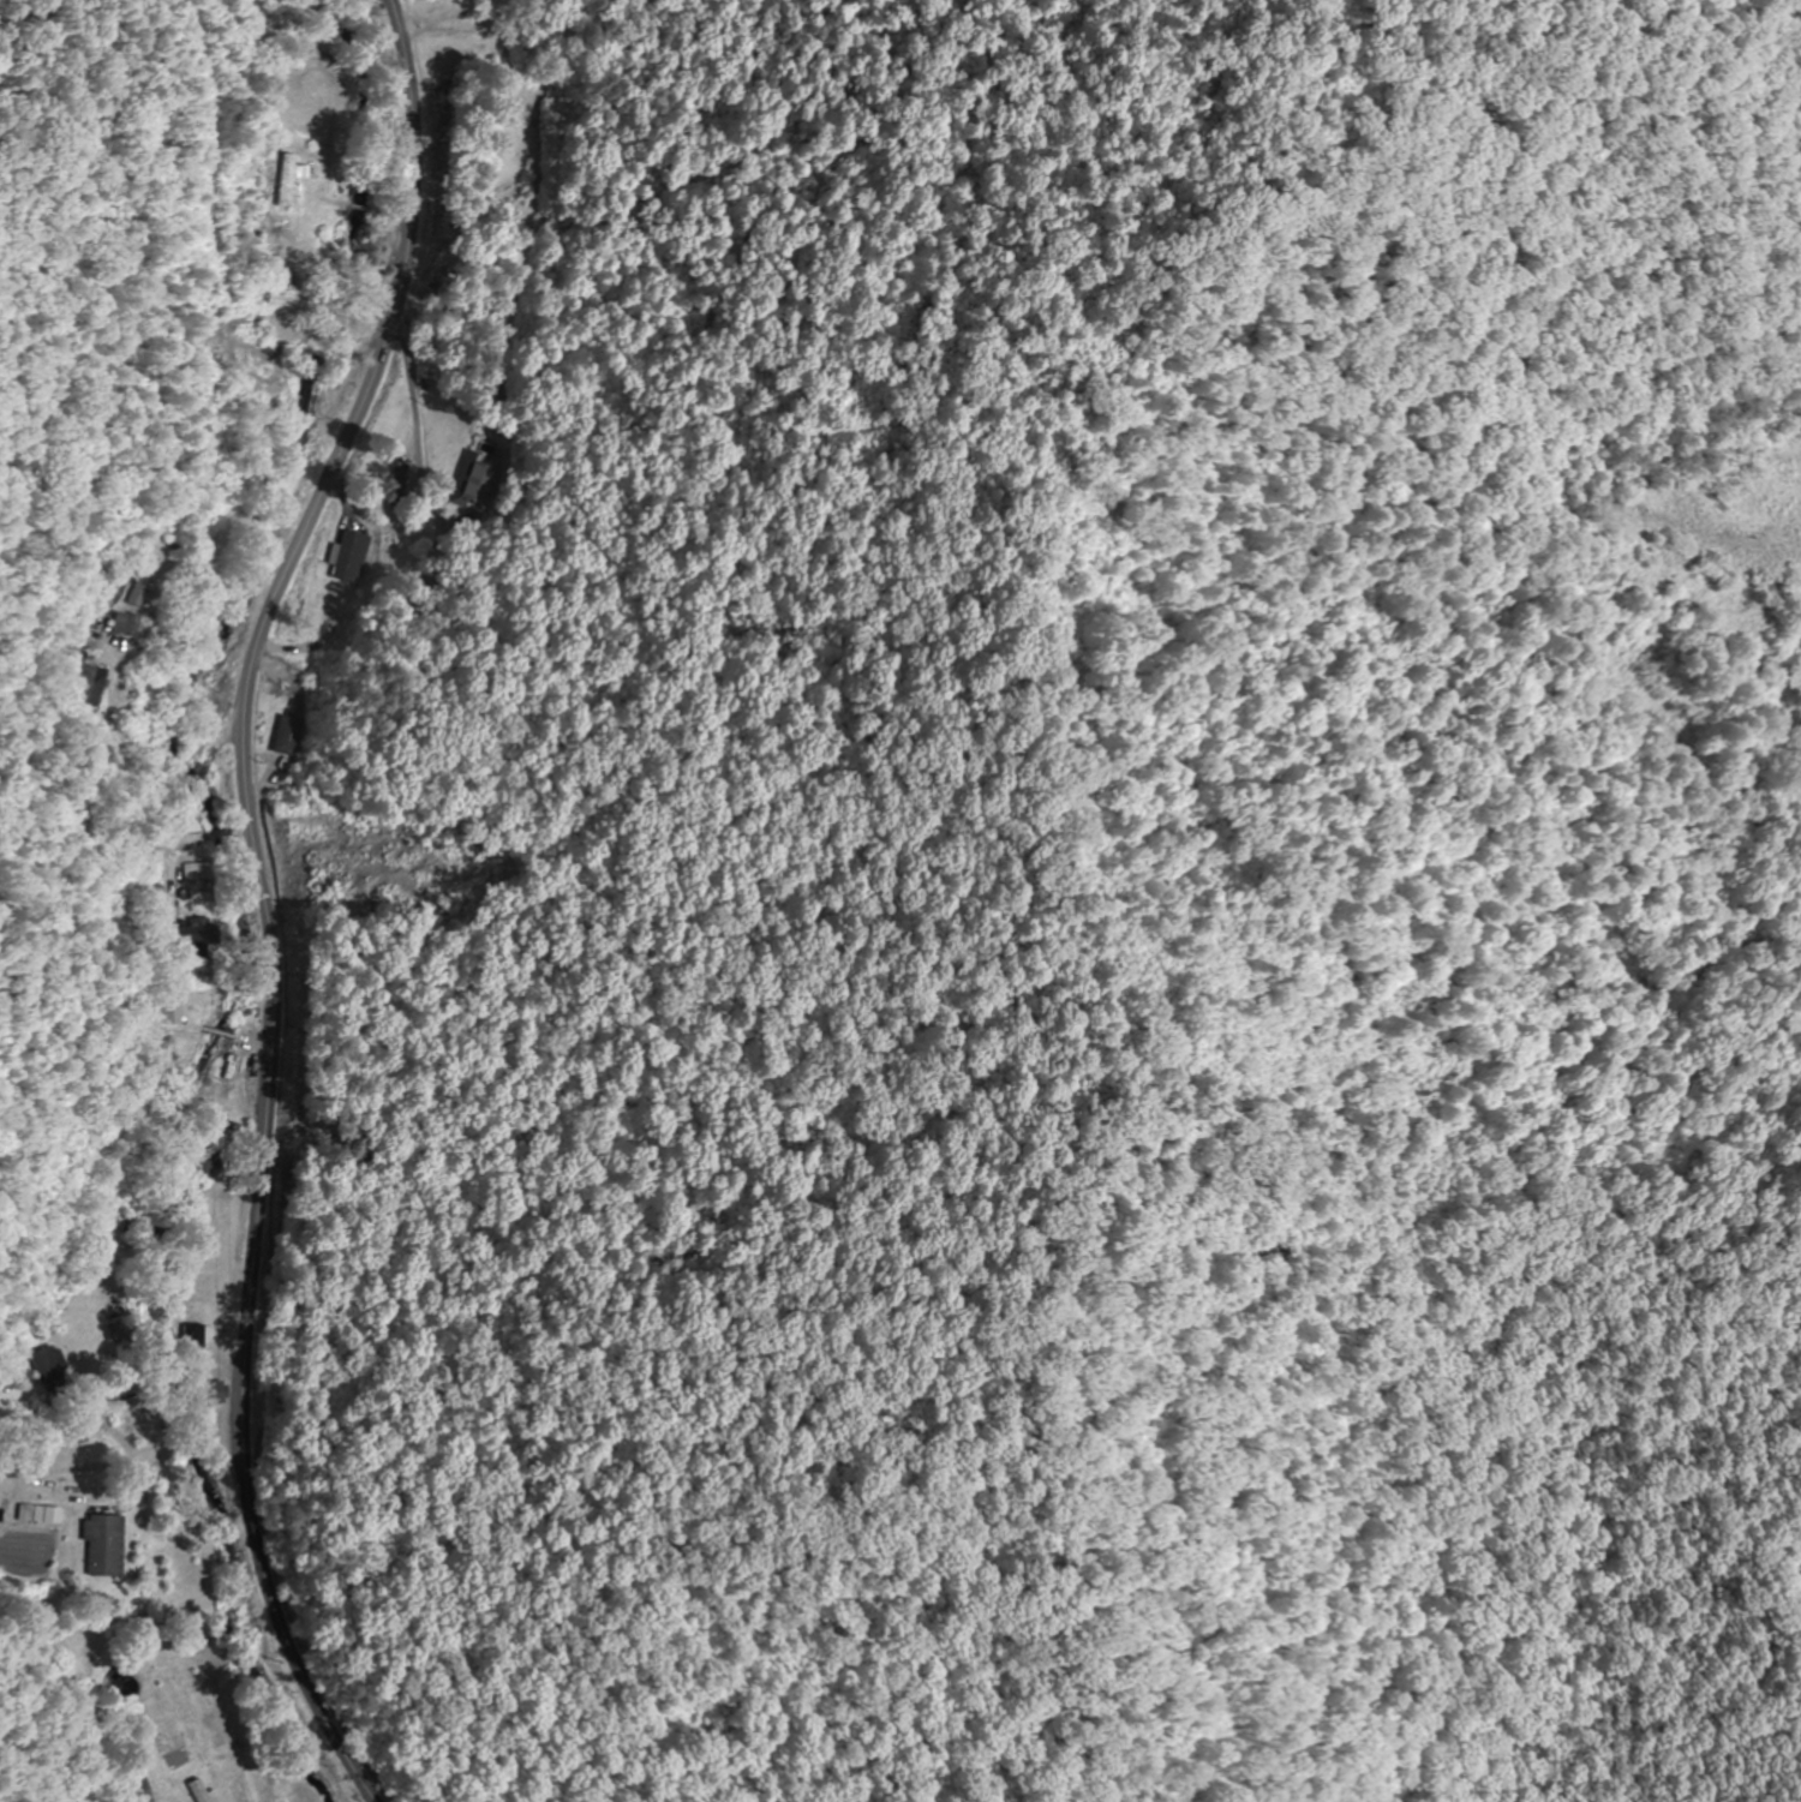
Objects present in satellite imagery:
building: (280, 279)
building: (468, 481)
building: (347, 556)
building: (193, 872)
road: (265, 898)
building: (173, 1005)
building: (214, 1161)
building: (46, 1365)
building: (211, 1396)
road: (149, 1449)
building: (43, 1514)
building: (101, 1545)
building: (199, 1791)

